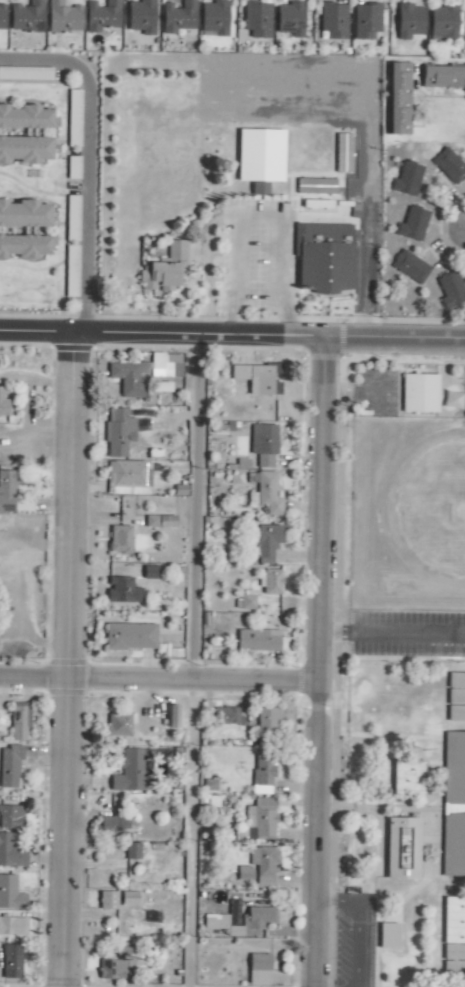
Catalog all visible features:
building: (102, 16)
building: (27, 17)
building: (141, 17)
building: (2, 18)
building: (63, 18)
building: (178, 18)
building: (214, 18)
building: (290, 19)
building: (257, 20)
building: (333, 21)
building: (366, 21)
building: (409, 21)
building: (443, 23)
building: (26, 74)
building: (443, 77)
building: (398, 99)
building: (73, 118)
building: (24, 136)
building: (342, 154)
building: (260, 159)
road: (87, 160)
building: (449, 166)
building: (407, 179)
building: (315, 187)
road: (257, 215)
building: (412, 225)
road: (464, 227)
building: (24, 230)
building: (324, 258)
building: (71, 264)
building: (410, 267)
building: (164, 269)
building: (451, 290)
road: (232, 333)
building: (165, 365)
building: (258, 377)
building: (129, 378)
building: (419, 393)
building: (3, 404)
building: (118, 432)
building: (263, 444)
building: (129, 476)
building: (7, 491)
building: (266, 494)
road: (192, 508)
building: (160, 521)
building: (119, 539)
building: (266, 543)
building: (150, 572)
building: (270, 582)
building: (122, 590)
building: (245, 601)
road: (391, 633)
building: (130, 636)
building: (258, 639)
road: (62, 659)
road: (317, 660)
road: (158, 682)
building: (456, 697)
building: (172, 716)
building: (230, 716)
building: (267, 720)
building: (19, 721)
building: (119, 724)
building: (9, 766)
building: (133, 770)
building: (262, 774)
building: (408, 775)
building: (209, 785)
building: (211, 801)
building: (453, 805)
building: (11, 817)
building: (258, 821)
building: (109, 825)
road: (189, 834)
building: (402, 848)
building: (132, 850)
building: (11, 851)
building: (259, 866)
building: (10, 894)
building: (129, 897)
building: (107, 900)
building: (259, 917)
building: (224, 920)
road: (356, 926)
building: (388, 936)
building: (454, 936)
building: (122, 951)
building: (12, 961)
building: (116, 969)
building: (259, 969)

